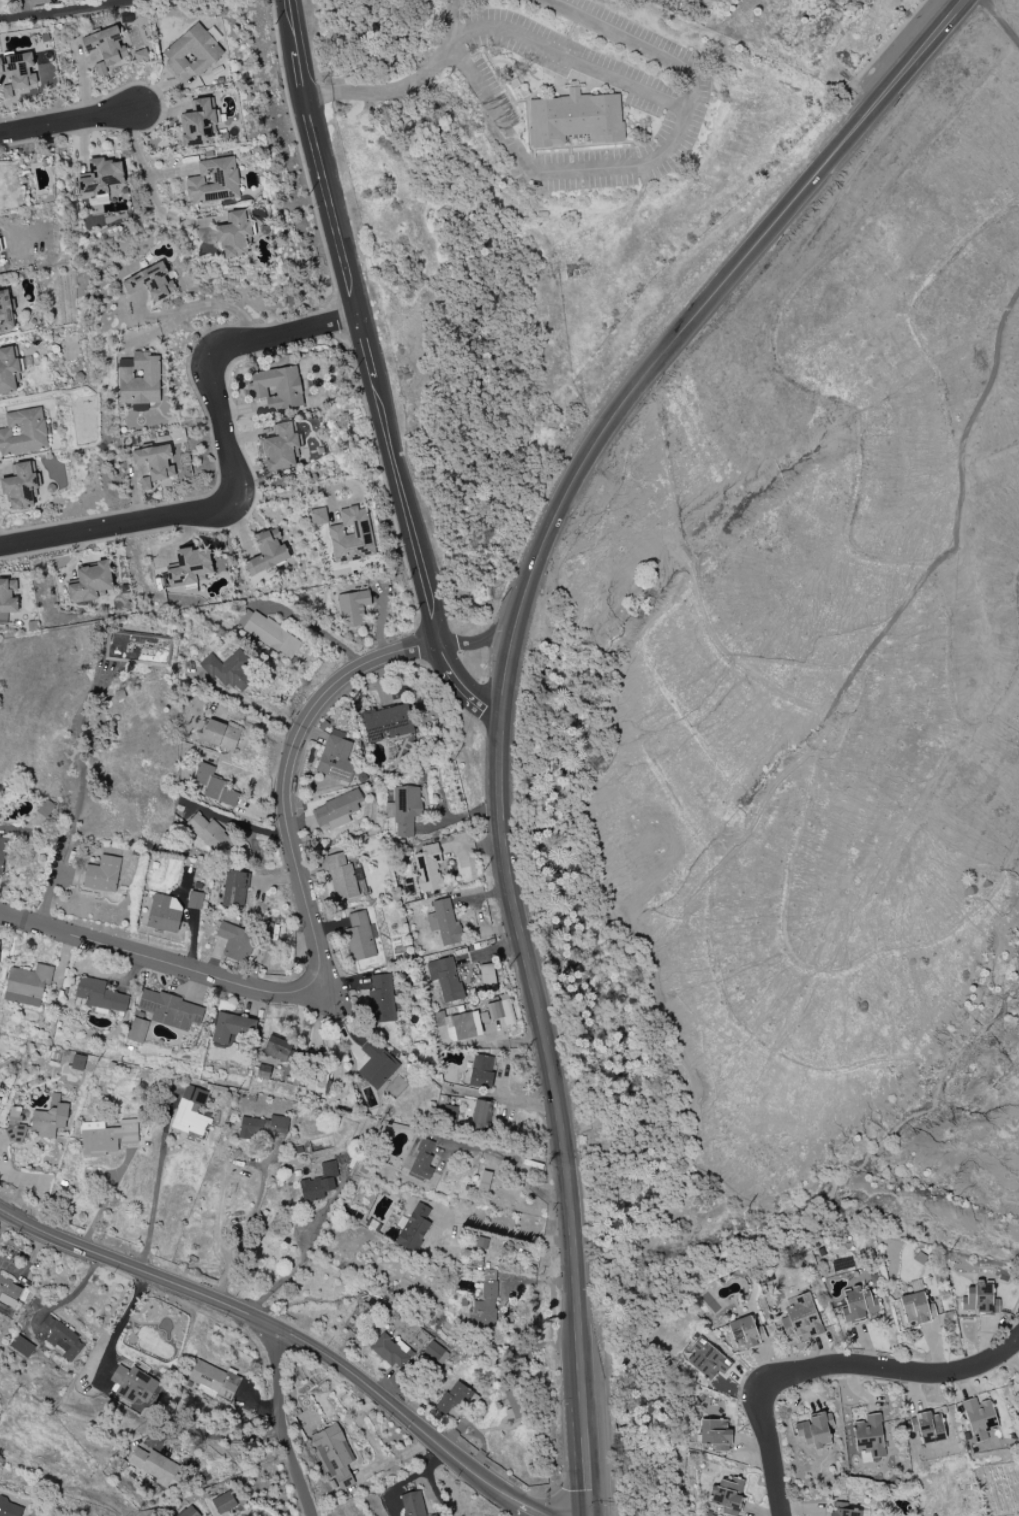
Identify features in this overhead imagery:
road: (71, 11)
road: (455, 14)
road: (1001, 21)
road: (886, 45)
building: (105, 48)
building: (193, 51)
building: (140, 55)
building: (18, 73)
road: (394, 86)
road: (664, 98)
building: (575, 119)
road: (64, 123)
building: (199, 123)
road: (543, 173)
building: (102, 178)
building: (214, 181)
road: (150, 183)
building: (234, 235)
building: (149, 282)
road: (220, 308)
building: (6, 311)
road: (686, 331)
road: (373, 368)
building: (9, 370)
building: (139, 379)
building: (277, 388)
building: (23, 432)
building: (282, 447)
building: (155, 464)
road: (229, 465)
building: (21, 487)
road: (314, 489)
building: (318, 517)
building: (351, 536)
building: (267, 552)
building: (189, 568)
building: (91, 583)
building: (8, 596)
building: (352, 608)
road: (315, 626)
building: (268, 633)
road: (480, 639)
building: (138, 649)
building: (230, 670)
road: (248, 705)
building: (387, 723)
building: (221, 735)
road: (81, 755)
building: (336, 757)
road: (498, 766)
road: (285, 773)
building: (214, 786)
building: (337, 810)
building: (209, 833)
building: (2, 853)
building: (428, 868)
building: (102, 874)
building: (341, 877)
road: (56, 882)
building: (235, 889)
building: (195, 900)
building: (164, 914)
building: (444, 922)
building: (359, 937)
building: (234, 941)
building: (0, 943)
road: (154, 959)
building: (487, 975)
building: (445, 978)
building: (27, 985)
building: (100, 995)
building: (382, 999)
building: (170, 1010)
building: (474, 1020)
road: (337, 1023)
building: (232, 1027)
building: (138, 1031)
road: (300, 1032)
building: (277, 1049)
building: (78, 1062)
building: (377, 1065)
building: (481, 1072)
road: (514, 1099)
building: (449, 1112)
building: (191, 1113)
building: (481, 1116)
building: (49, 1119)
road: (562, 1125)
building: (14, 1127)
building: (264, 1128)
building: (106, 1138)
building: (423, 1159)
building: (484, 1181)
building: (319, 1183)
road: (108, 1201)
road: (156, 1202)
building: (413, 1228)
road: (247, 1233)
road: (509, 1234)
building: (842, 1265)
road: (294, 1270)
building: (9, 1292)
building: (978, 1299)
building: (858, 1306)
building: (916, 1309)
building: (801, 1318)
road: (122, 1321)
road: (282, 1332)
building: (743, 1333)
building: (62, 1339)
road: (1018, 1341)
building: (22, 1346)
building: (391, 1352)
building: (435, 1353)
building: (706, 1359)
road: (836, 1373)
building: (214, 1379)
building: (132, 1384)
building: (455, 1399)
building: (979, 1419)
road: (279, 1425)
building: (930, 1427)
building: (816, 1430)
building: (715, 1434)
road: (220, 1436)
building: (869, 1437)
building: (335, 1456)
building: (155, 1466)
road: (588, 1477)
building: (727, 1495)
building: (223, 1502)
building: (412, 1504)
building: (10, 1509)
building: (186, 1512)
road: (253, 1512)
building: (844, 1512)
building: (434, 1515)

